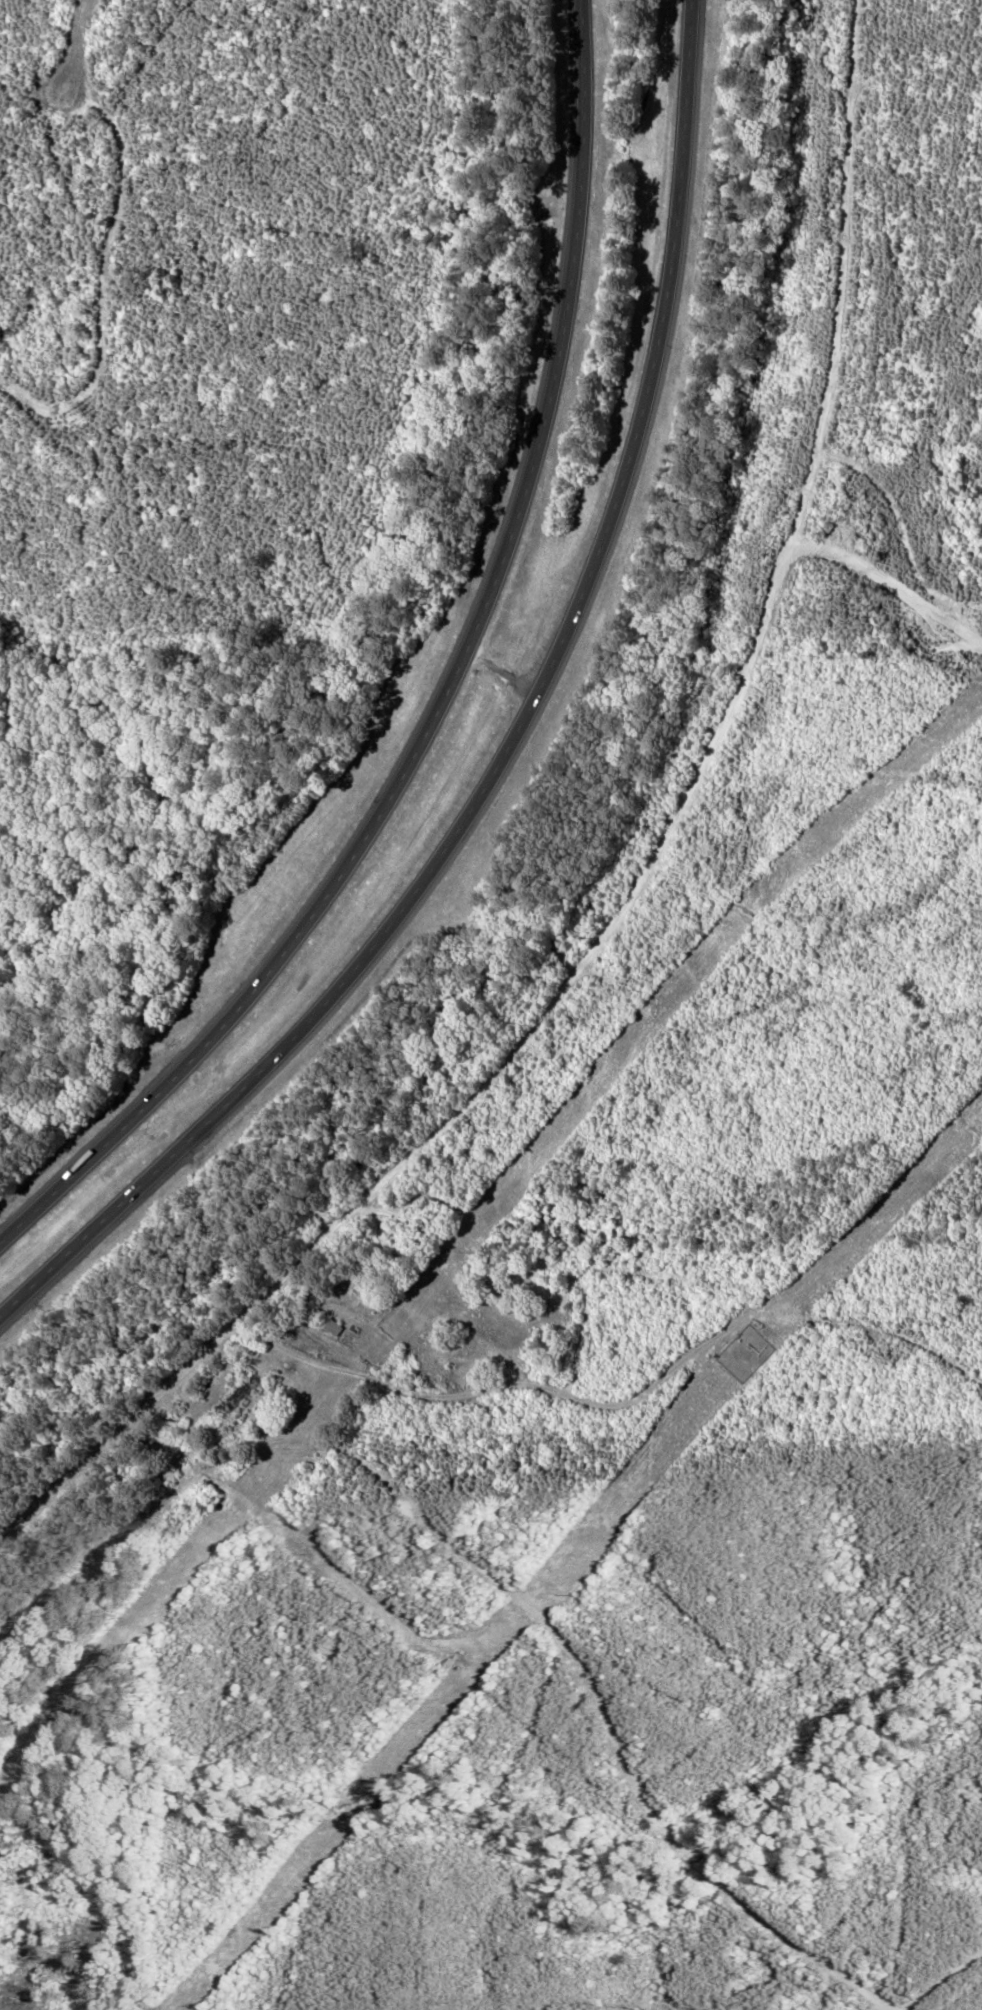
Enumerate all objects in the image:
road: (446, 693)
road: (510, 742)
road: (660, 902)
building: (334, 1327)
building: (241, 1396)

